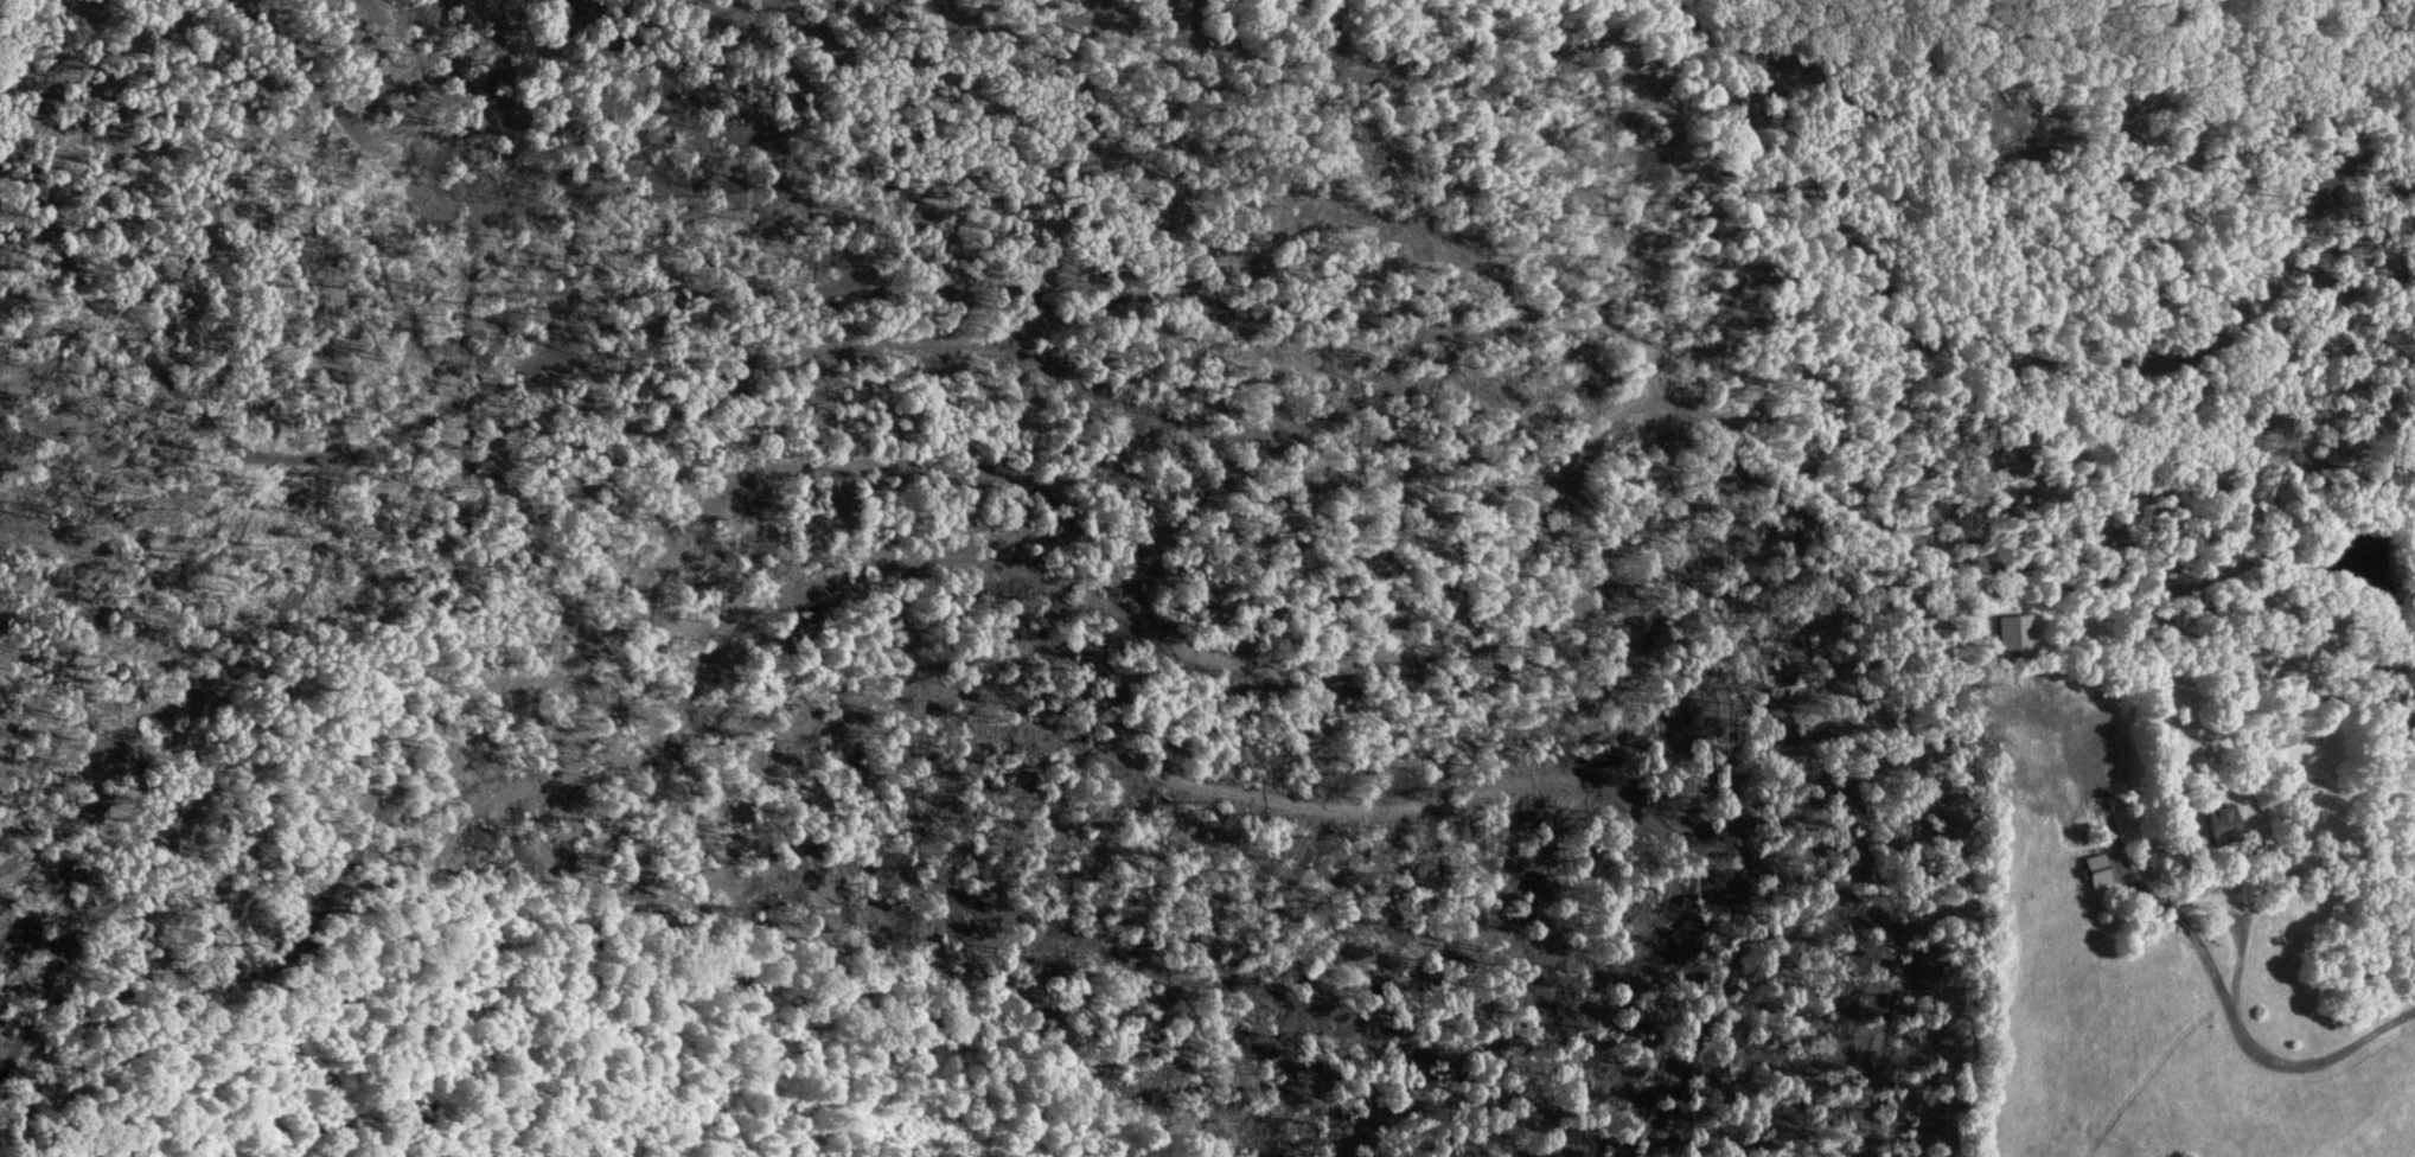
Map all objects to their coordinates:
road: (2283, 548)
road: (2101, 653)
road: (2167, 741)
building: (2218, 819)
building: (2094, 867)

